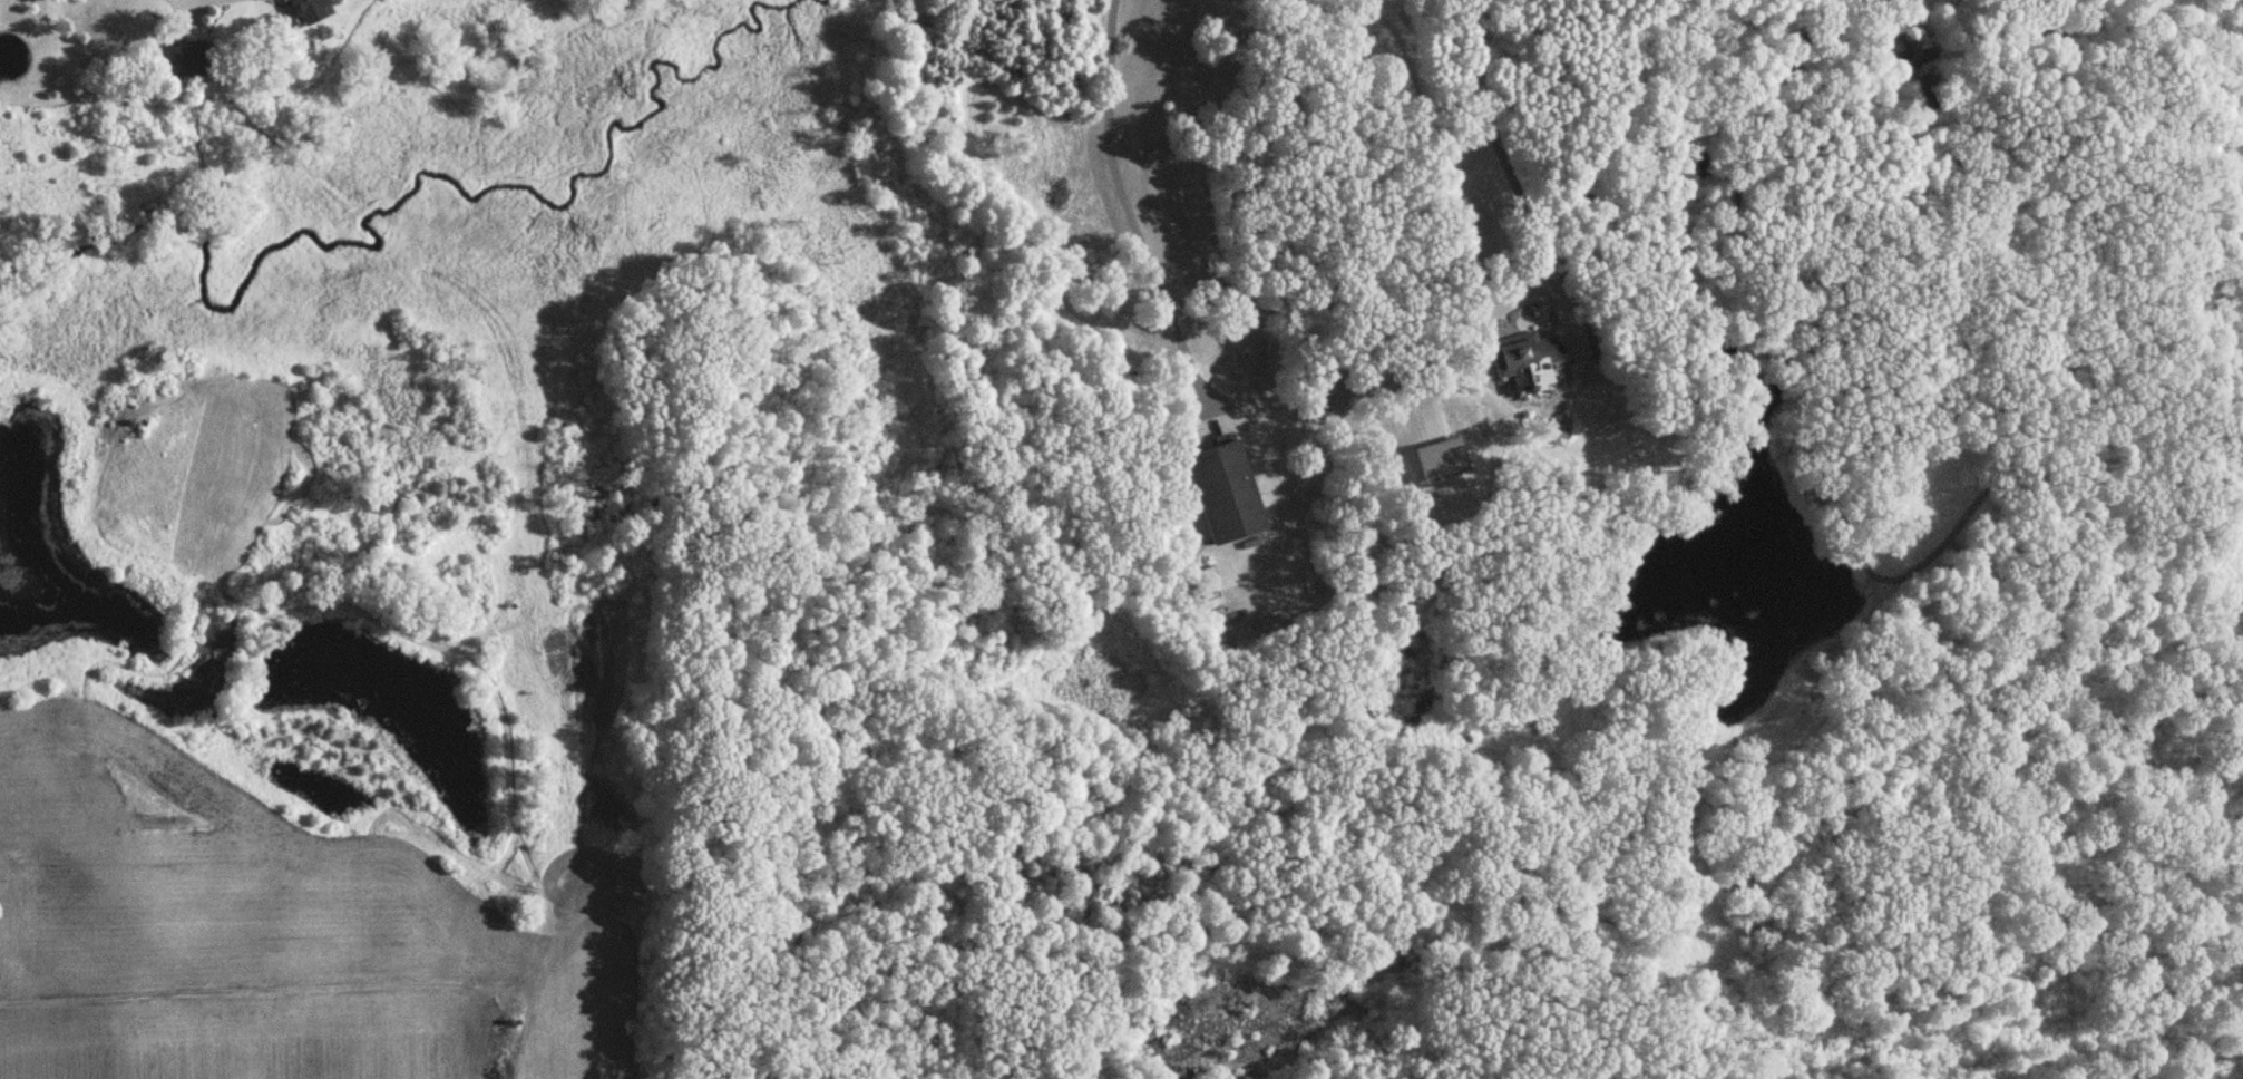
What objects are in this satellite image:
building: (308, 12)
building: (191, 62)
building: (1527, 361)
building: (1325, 396)
road: (1337, 429)
building: (1226, 493)

